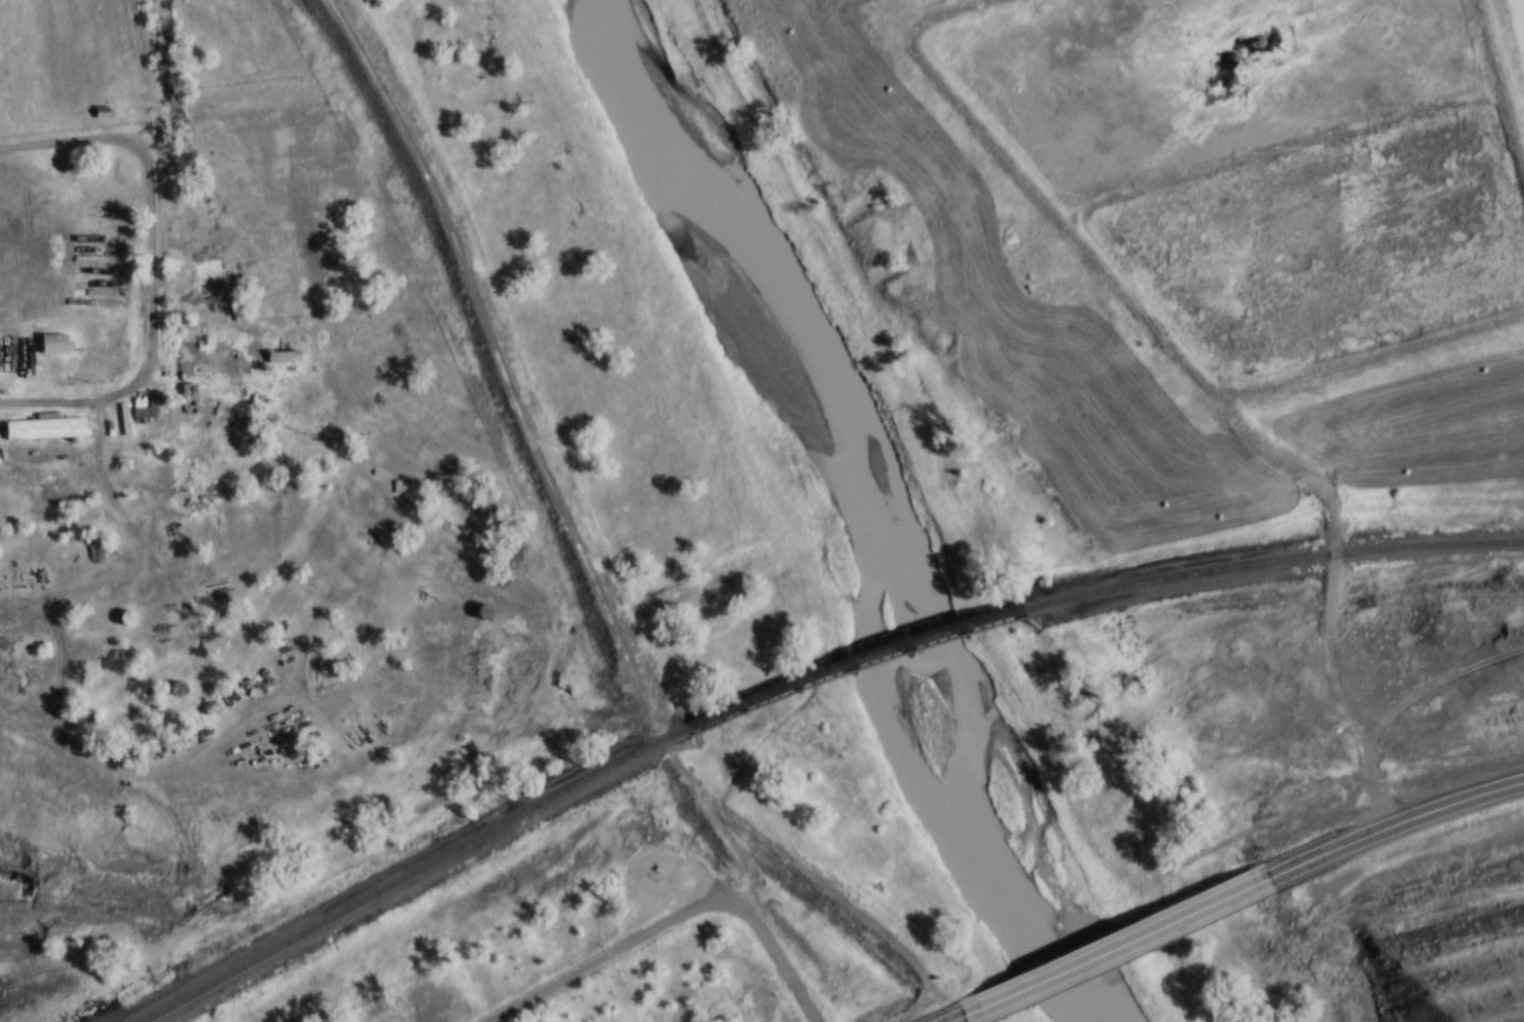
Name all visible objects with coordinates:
road: (1503, 74)
building: (97, 99)
building: (105, 112)
road: (64, 141)
road: (1042, 199)
building: (100, 214)
road: (148, 247)
building: (204, 257)
building: (49, 330)
building: (276, 343)
building: (56, 345)
road: (1372, 358)
building: (181, 376)
road: (81, 399)
building: (139, 399)
building: (142, 412)
building: (40, 415)
building: (47, 430)
river: (880, 503)
railway: (1268, 561)
road: (1332, 590)
building: (475, 599)
silo: (475, 599)
building: (119, 605)
silo: (119, 605)
railway: (906, 634)
building: (170, 676)
silo: (170, 676)
road: (93, 770)
road: (1398, 822)
railway: (471, 843)
road: (1198, 906)
road: (608, 955)
road: (778, 961)
road: (1051, 973)
road: (961, 1014)

